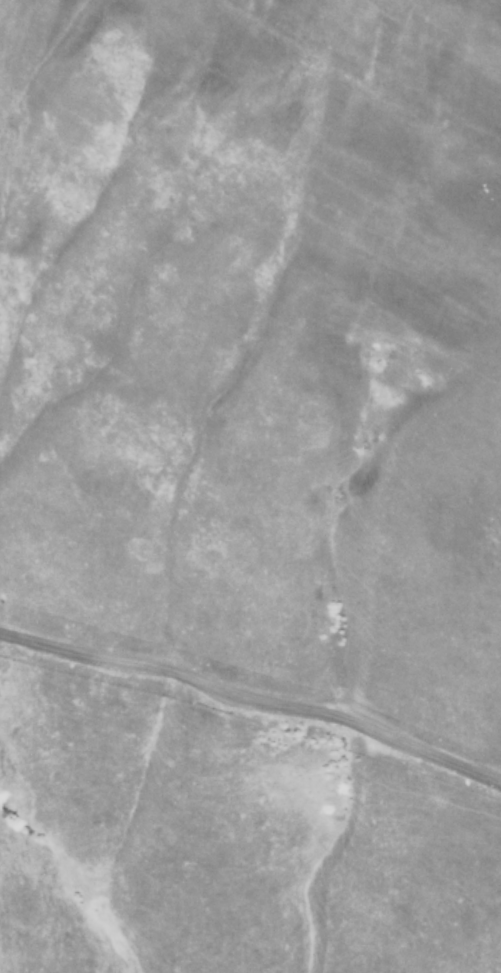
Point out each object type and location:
road: (254, 696)

